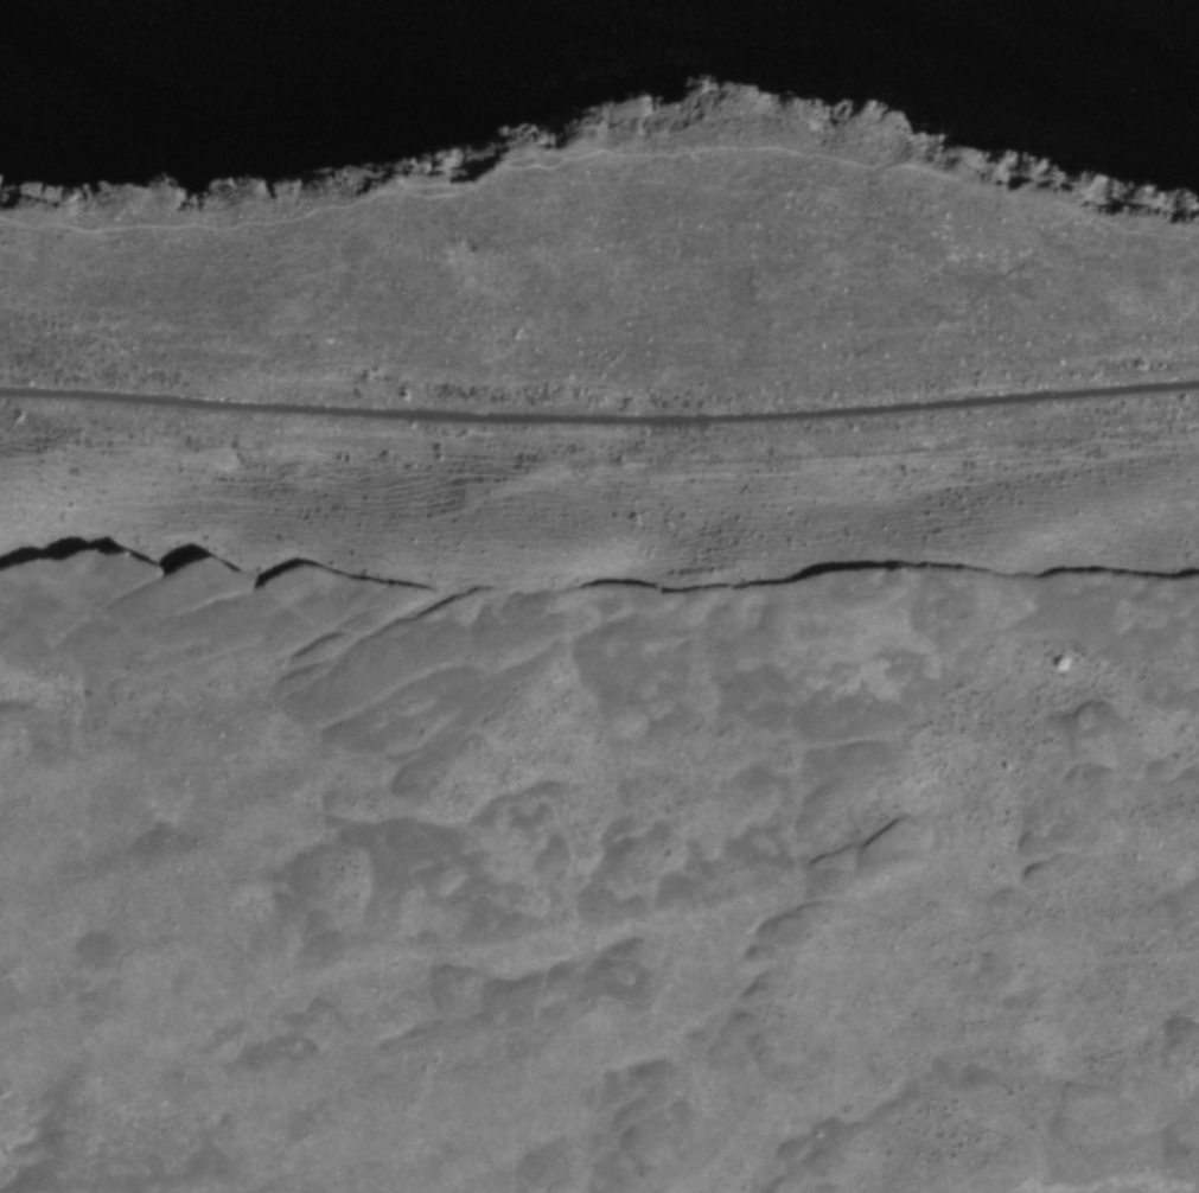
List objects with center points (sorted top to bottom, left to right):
park: (938, 231)
road: (599, 432)

